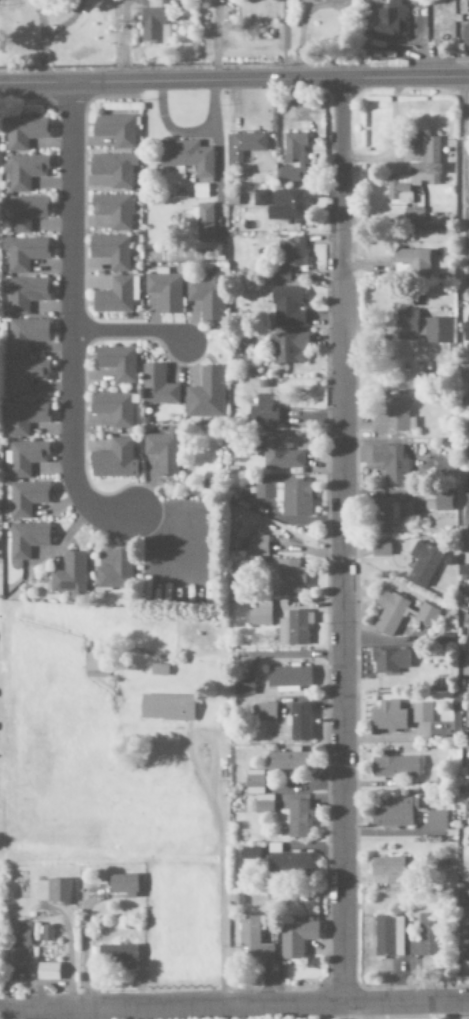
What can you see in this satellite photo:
building: (146, 0)
building: (317, 0)
building: (388, 20)
building: (153, 25)
building: (465, 36)
road: (234, 80)
building: (115, 130)
building: (22, 132)
building: (243, 145)
building: (187, 157)
building: (114, 170)
building: (25, 172)
building: (416, 173)
building: (259, 198)
building: (286, 206)
building: (113, 210)
building: (25, 212)
building: (413, 217)
building: (203, 222)
building: (110, 251)
building: (293, 252)
building: (23, 253)
building: (411, 262)
building: (280, 275)
building: (165, 290)
building: (23, 293)
building: (117, 296)
building: (207, 296)
building: (287, 308)
road: (71, 320)
building: (422, 328)
road: (131, 331)
building: (465, 331)
building: (25, 335)
building: (287, 349)
building: (117, 363)
building: (26, 376)
building: (157, 387)
building: (206, 394)
building: (113, 408)
building: (271, 413)
building: (23, 416)
building: (393, 416)
building: (163, 451)
building: (468, 451)
building: (281, 456)
building: (24, 458)
building: (114, 461)
building: (391, 463)
building: (286, 496)
building: (26, 498)
building: (441, 500)
building: (390, 513)
building: (26, 539)
road: (344, 542)
building: (257, 546)
building: (463, 546)
building: (381, 548)
building: (423, 563)
building: (114, 571)
building: (69, 574)
building: (285, 577)
building: (399, 613)
building: (259, 616)
building: (294, 629)
building: (468, 642)
building: (389, 661)
building: (93, 663)
building: (158, 670)
building: (288, 678)
building: (243, 685)
building: (166, 708)
building: (264, 711)
building: (468, 712)
building: (421, 713)
building: (388, 717)
building: (299, 722)
building: (288, 763)
building: (394, 767)
building: (254, 782)
building: (262, 804)
building: (395, 813)
building: (296, 819)
building: (436, 821)
building: (467, 838)
building: (468, 850)
building: (288, 864)
building: (388, 870)
building: (123, 886)
building: (52, 892)
building: (46, 933)
building: (388, 937)
building: (425, 938)
building: (295, 939)
building: (253, 940)
building: (18, 942)
building: (465, 943)
building: (113, 956)
road: (234, 1005)
road: (81, 1013)

